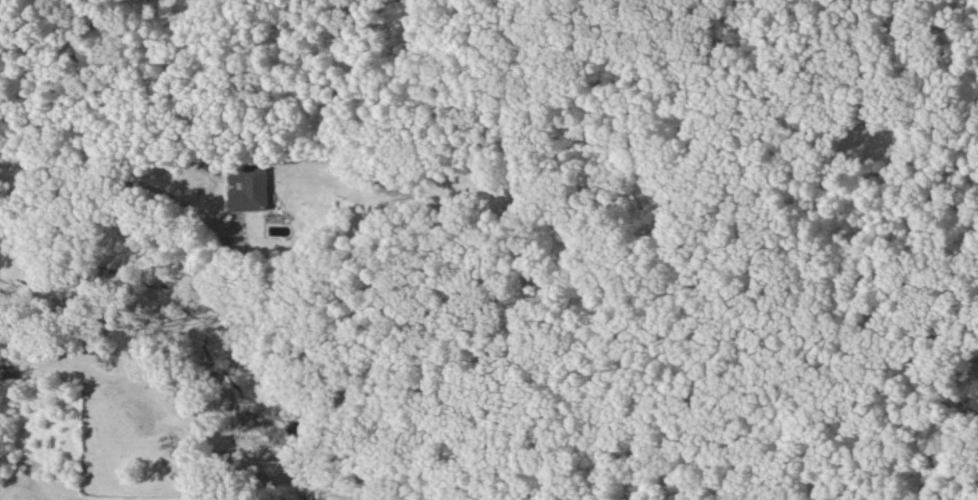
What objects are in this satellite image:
road: (117, 173)
building: (250, 186)

